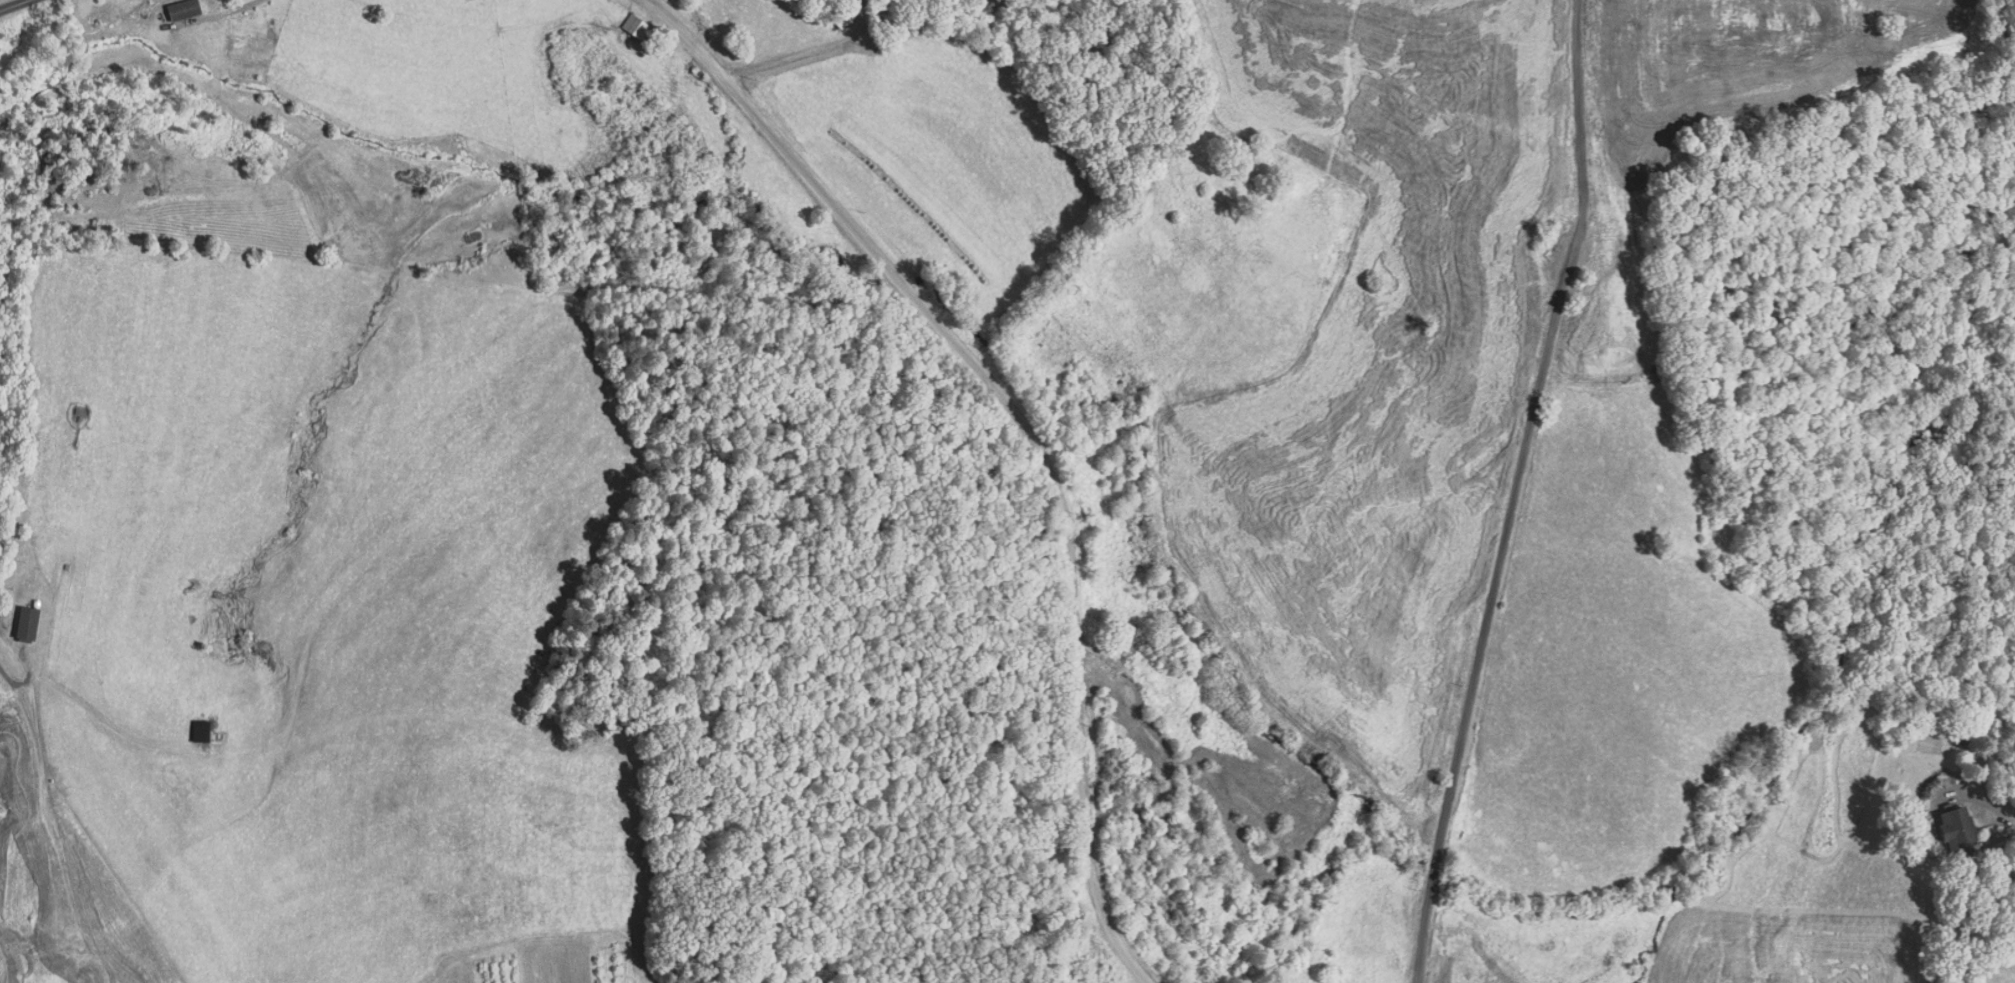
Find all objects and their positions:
road: (22, 5)
building: (181, 10)
building: (607, 16)
building: (838, 22)
road: (797, 55)
road: (990, 429)
road: (1526, 432)
building: (30, 625)
building: (199, 731)
road: (122, 733)
building: (1953, 829)
road: (34, 830)
road: (1429, 885)
road: (1420, 945)

